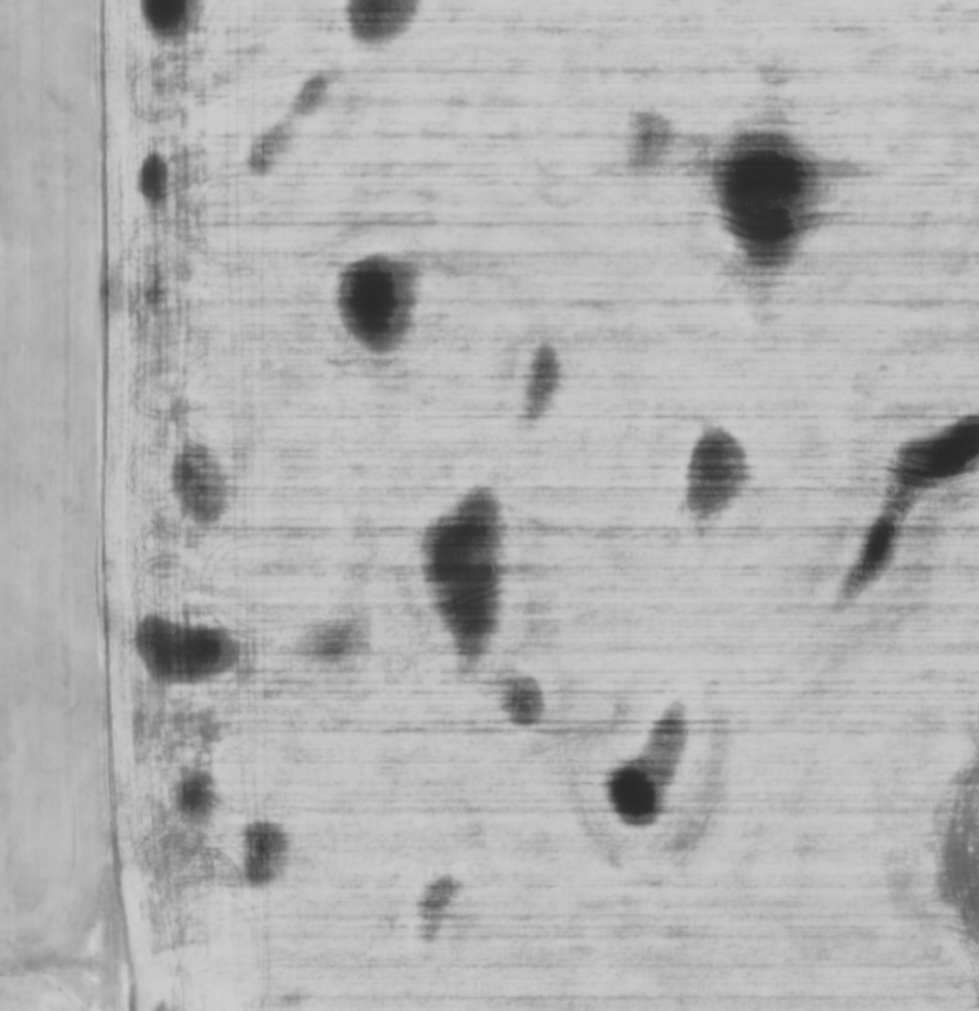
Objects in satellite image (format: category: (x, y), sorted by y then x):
road: (108, 387)
road: (111, 893)
road: (56, 956)

